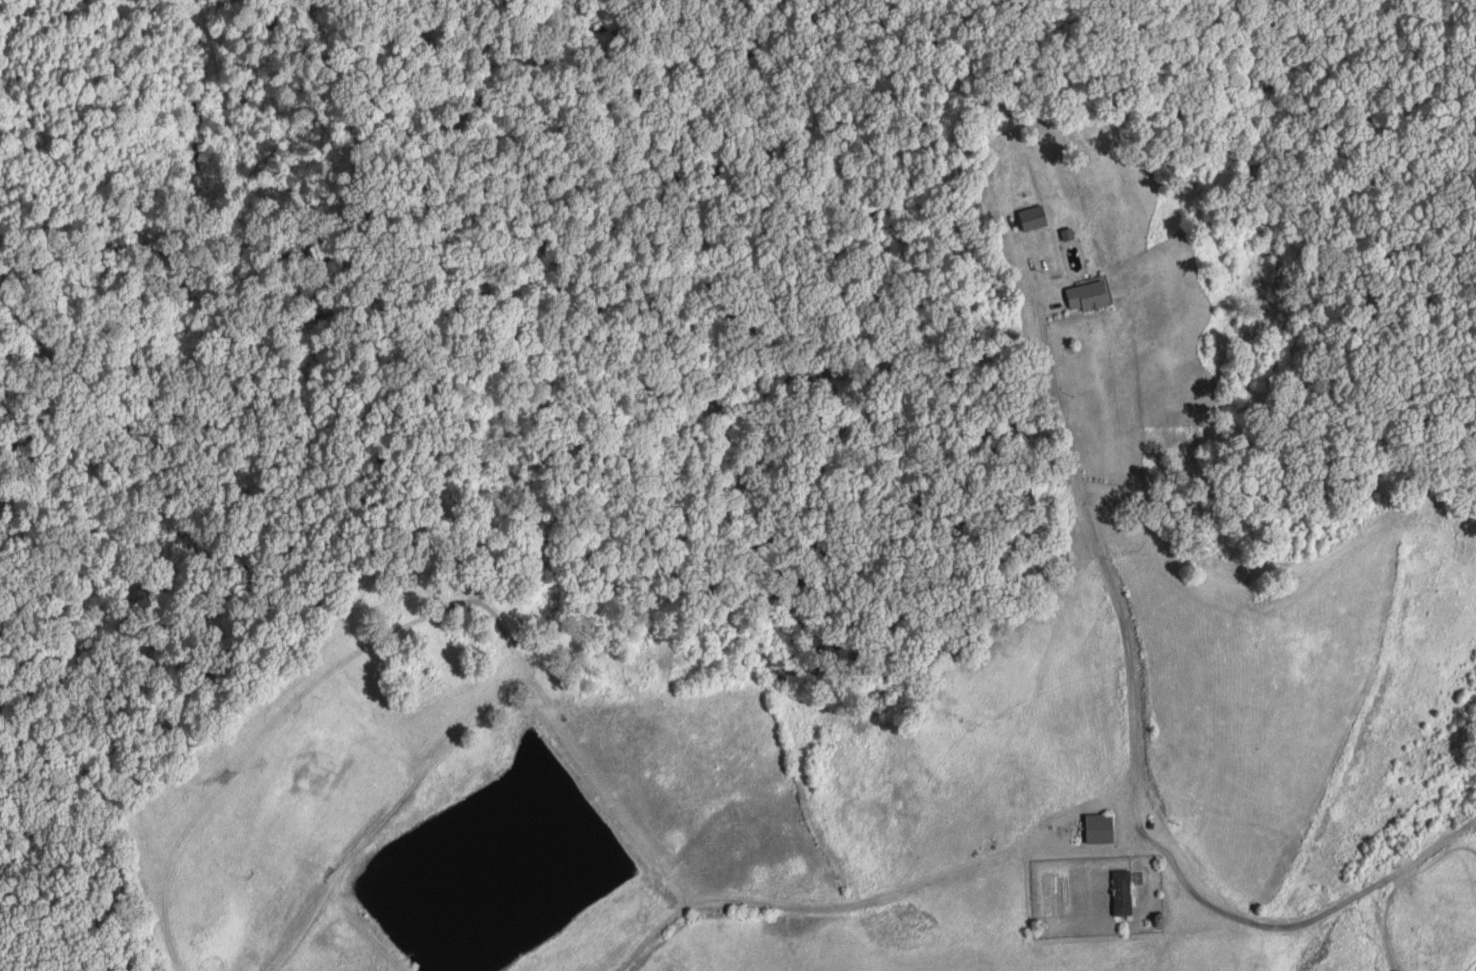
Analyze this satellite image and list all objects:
road: (1411, 893)

